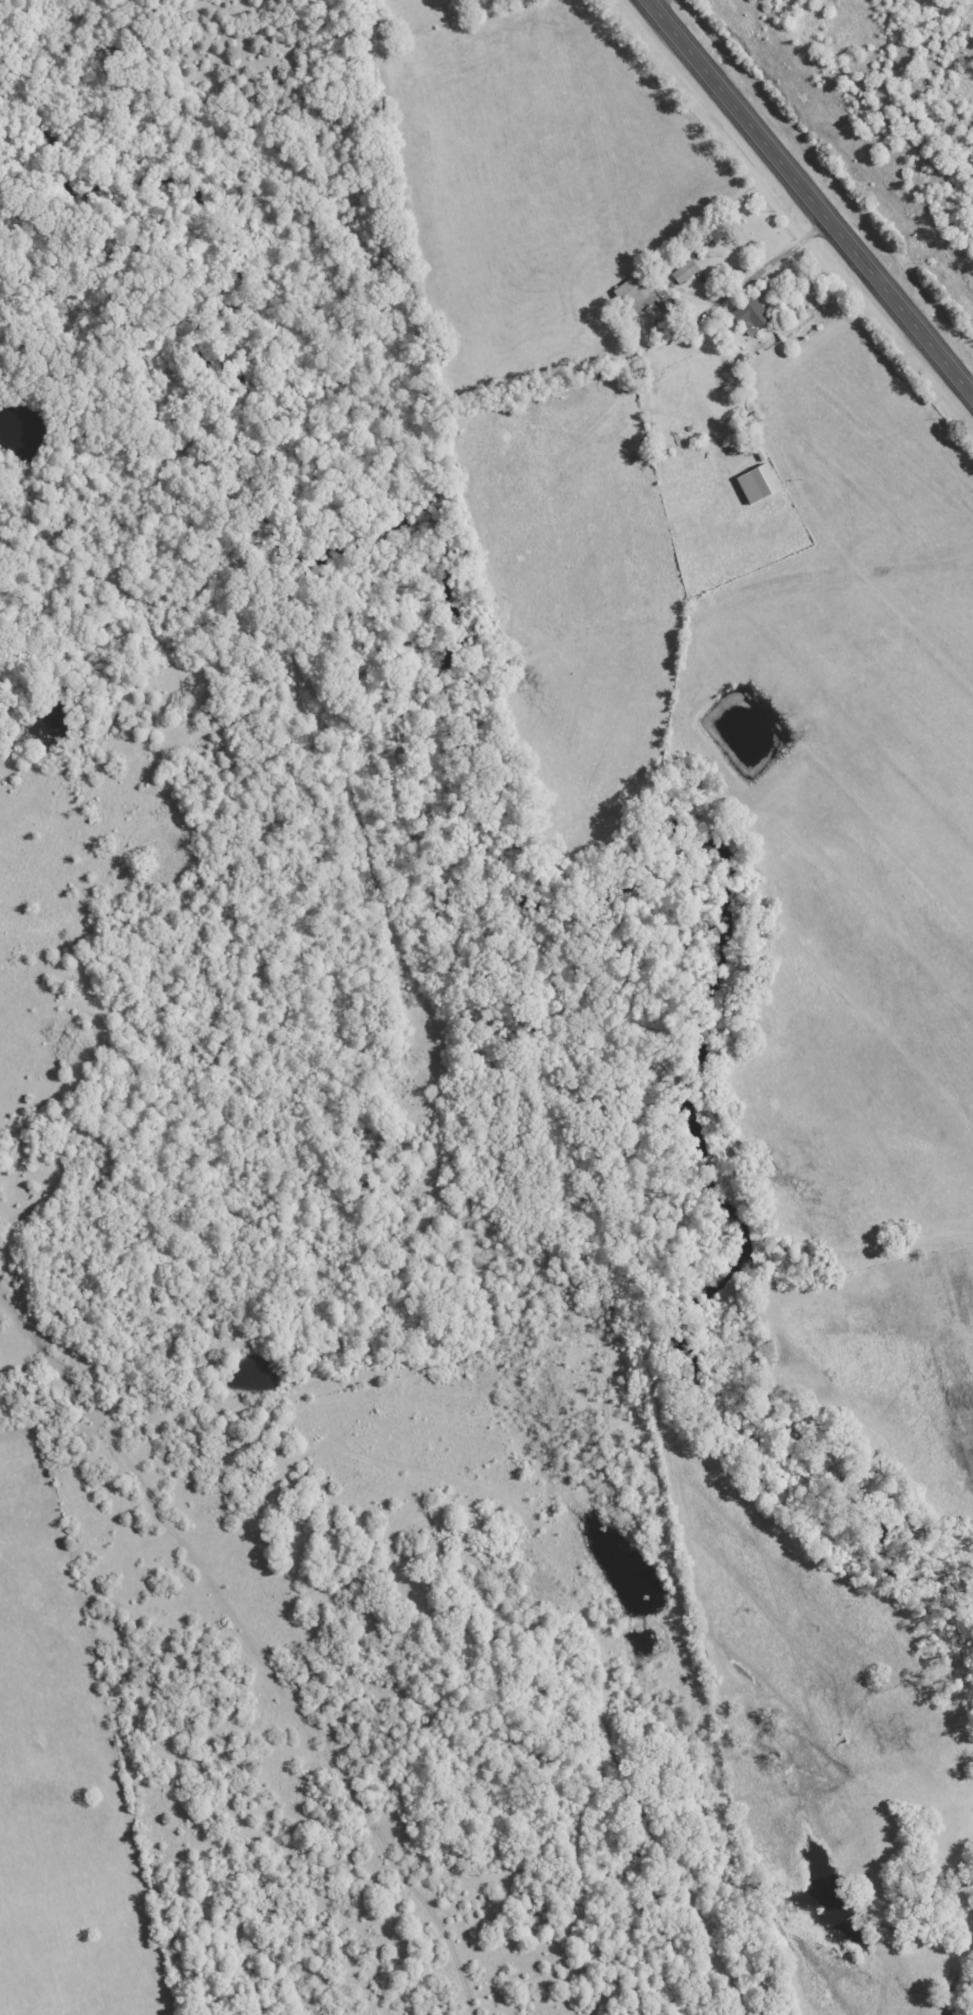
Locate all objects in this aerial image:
road: (809, 199)
building: (686, 272)
building: (638, 293)
building: (752, 314)
building: (760, 484)

